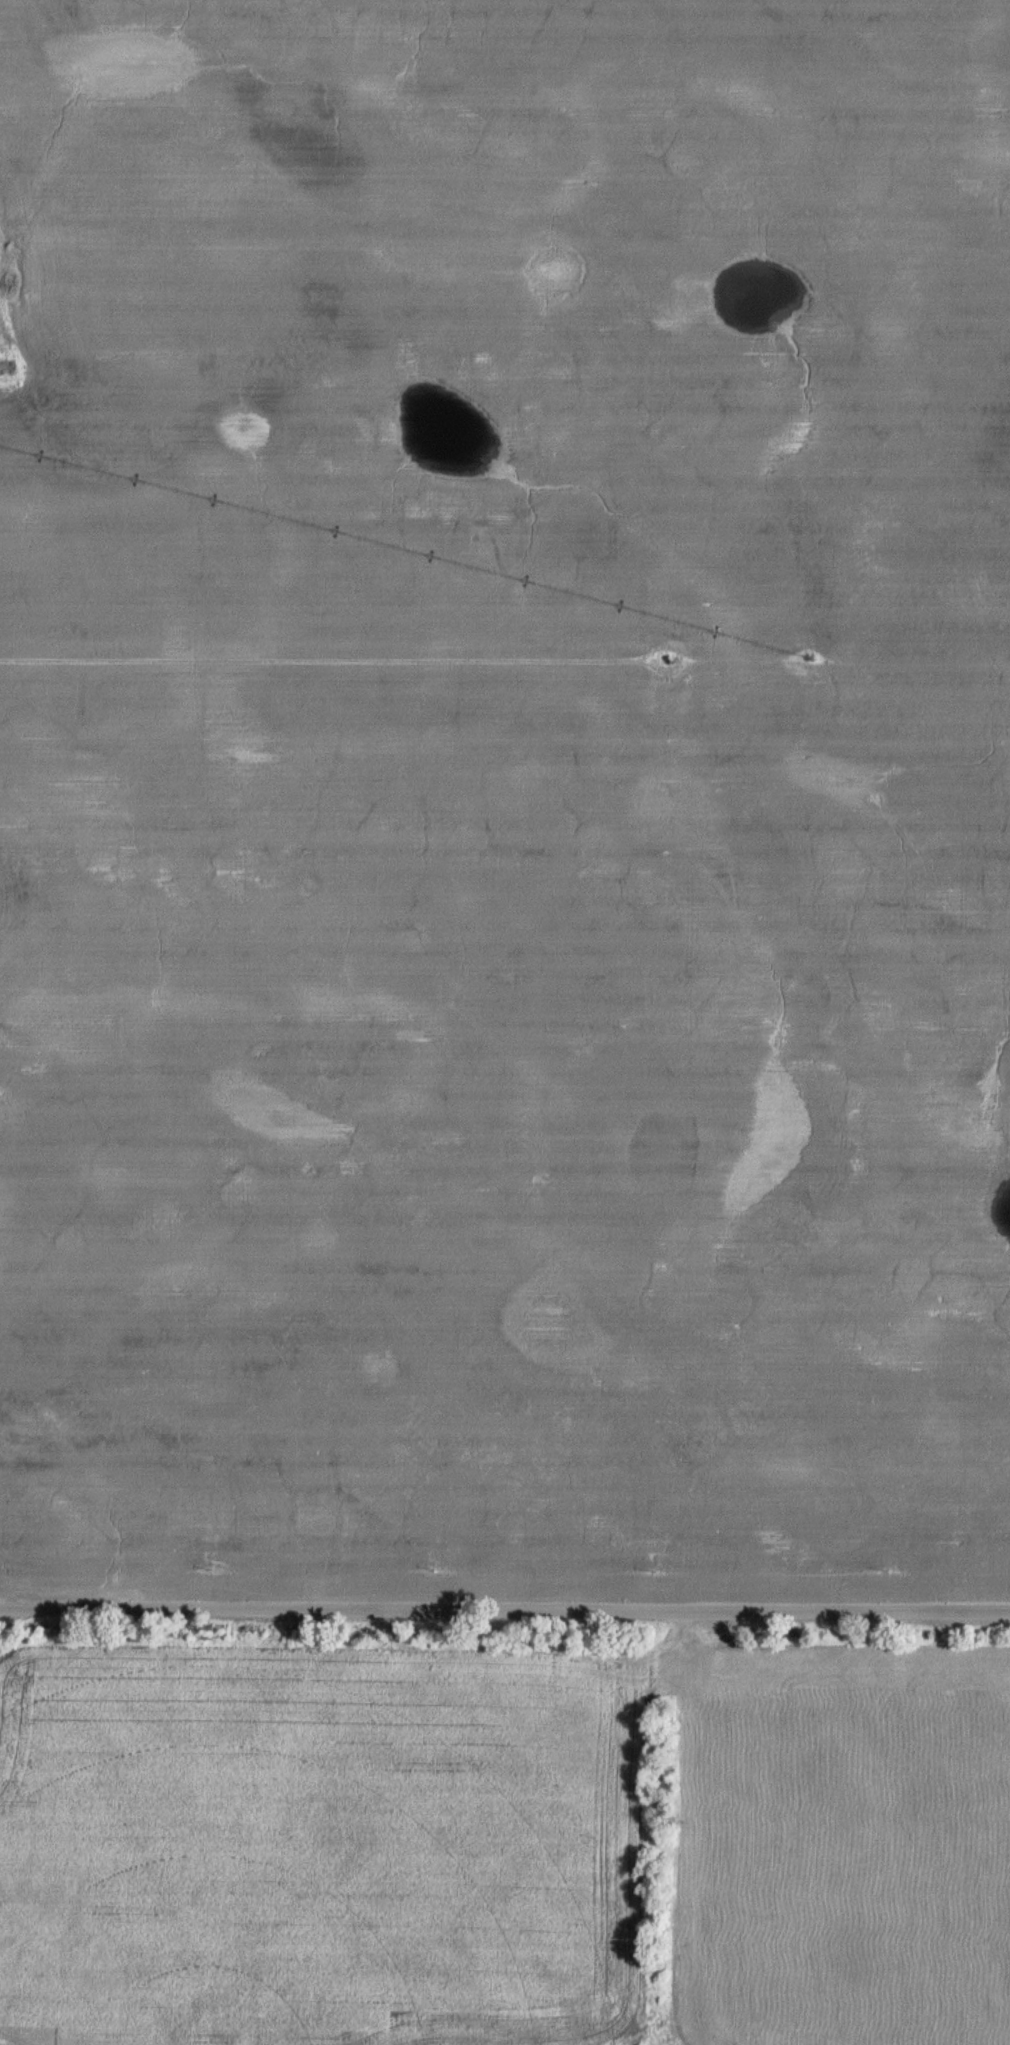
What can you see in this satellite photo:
road: (505, 1610)

